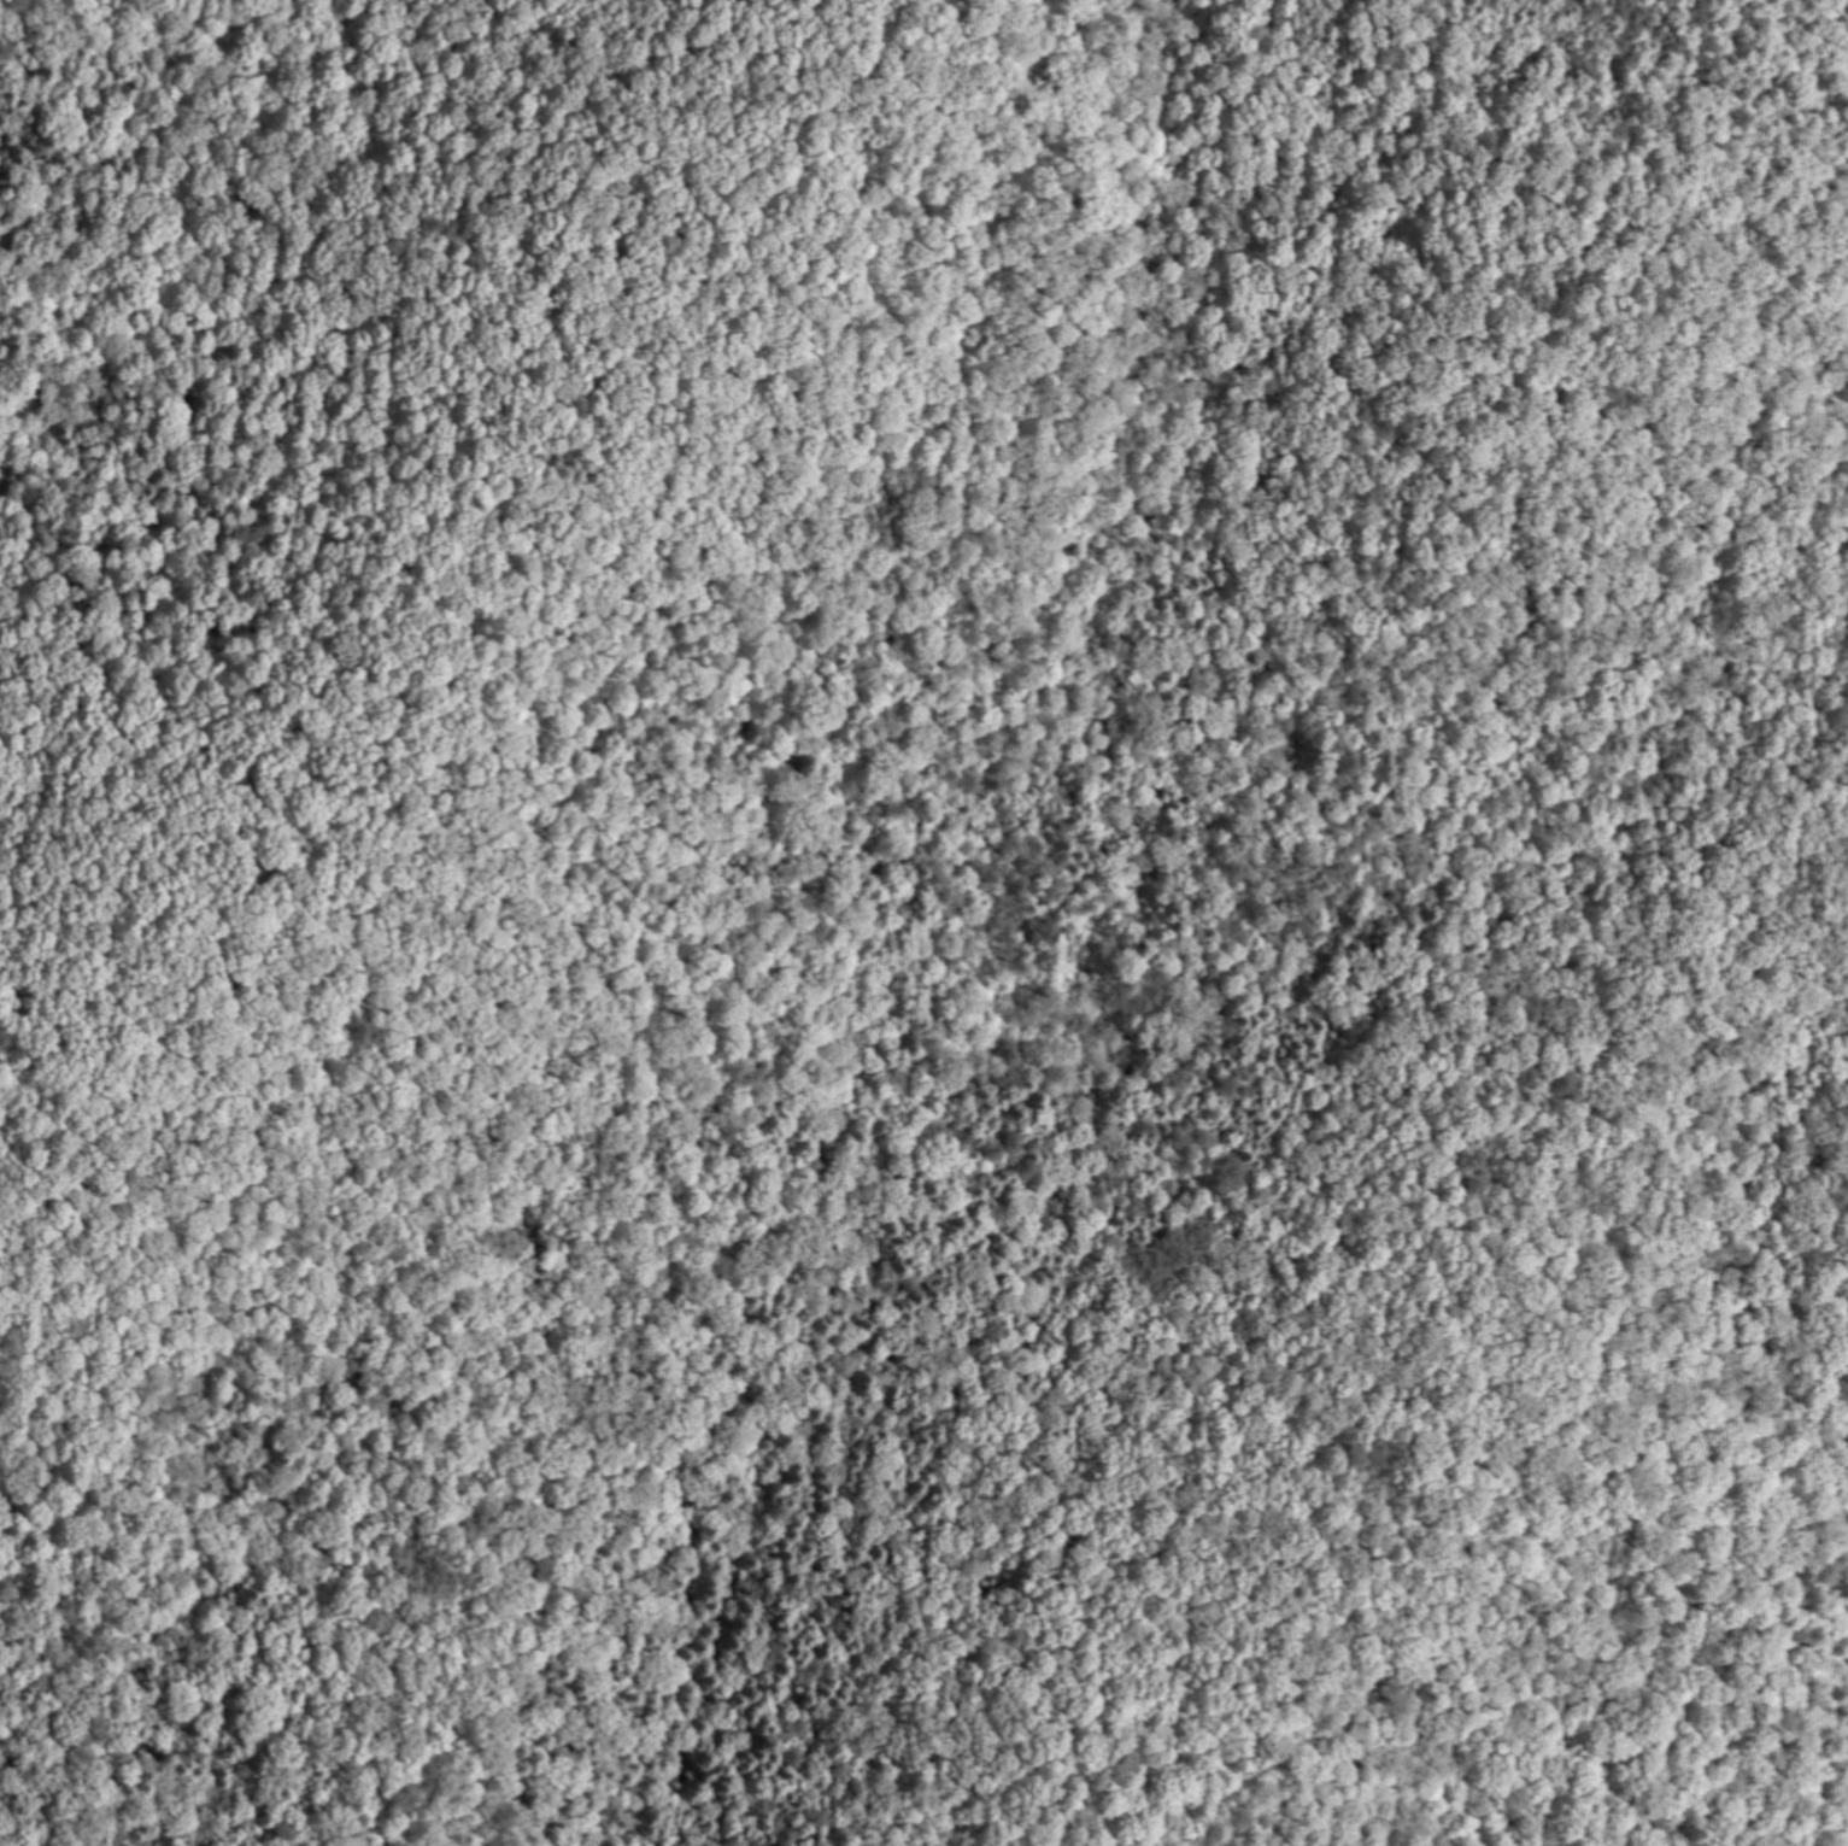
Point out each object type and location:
road: (1755, 66)

